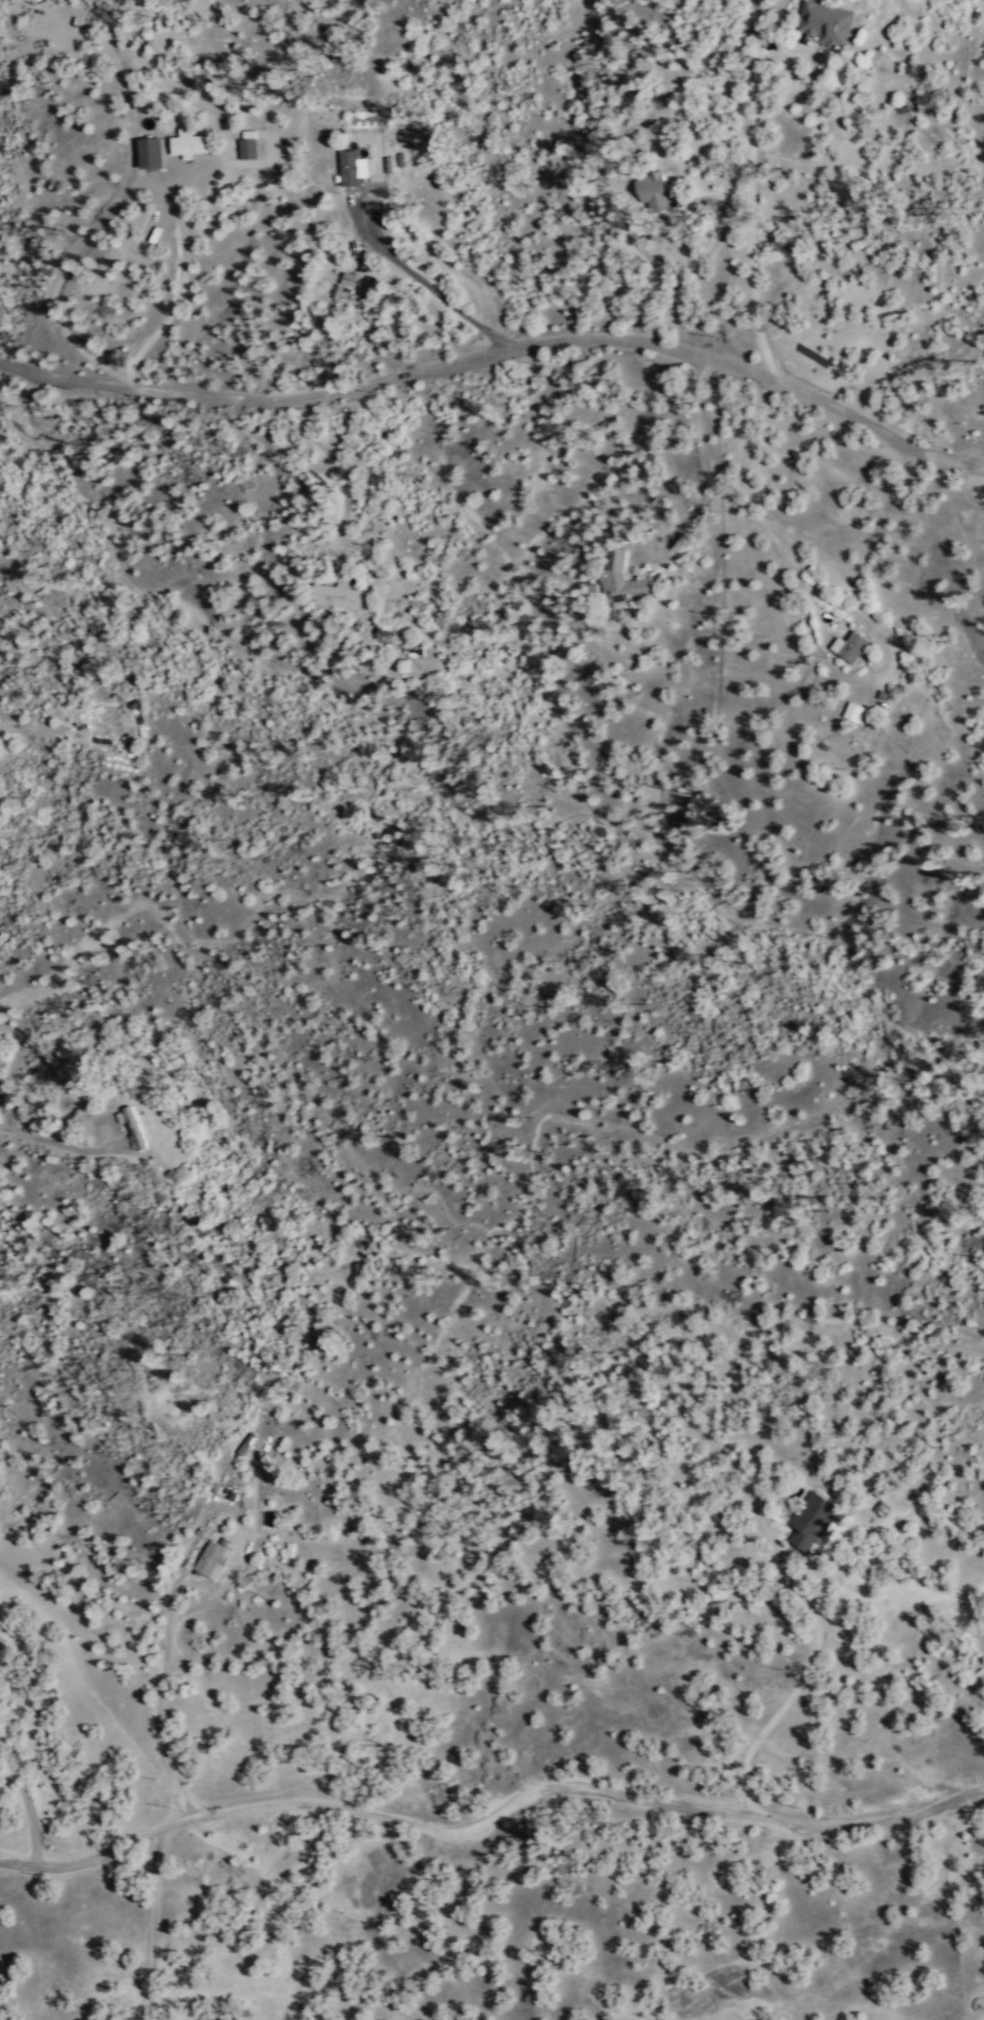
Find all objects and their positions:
building: (827, 20)
building: (190, 142)
building: (247, 147)
building: (150, 151)
building: (389, 163)
building: (352, 166)
building: (653, 192)
road: (501, 355)
building: (623, 580)
building: (337, 595)
building: (850, 645)
building: (854, 710)
building: (134, 1127)
building: (811, 1520)
building: (213, 1559)
road: (493, 1812)

